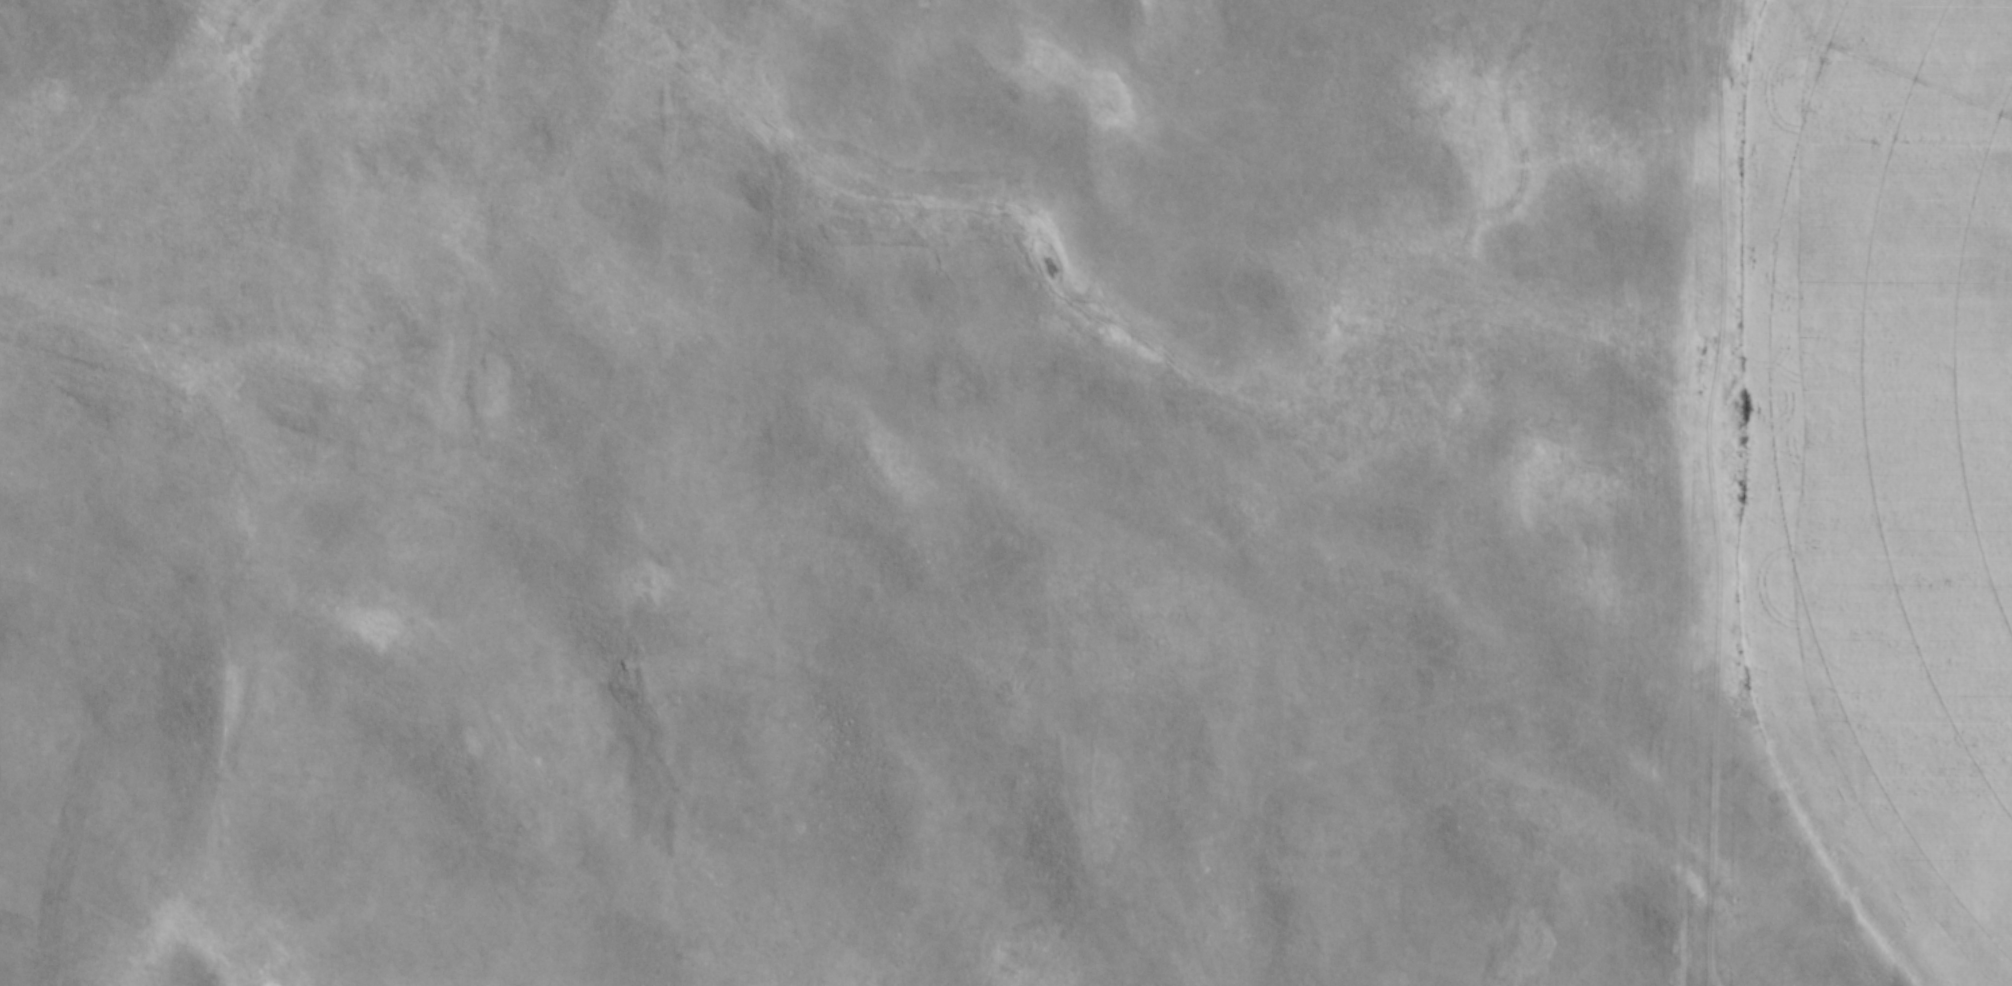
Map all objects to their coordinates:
road: (1729, 493)

